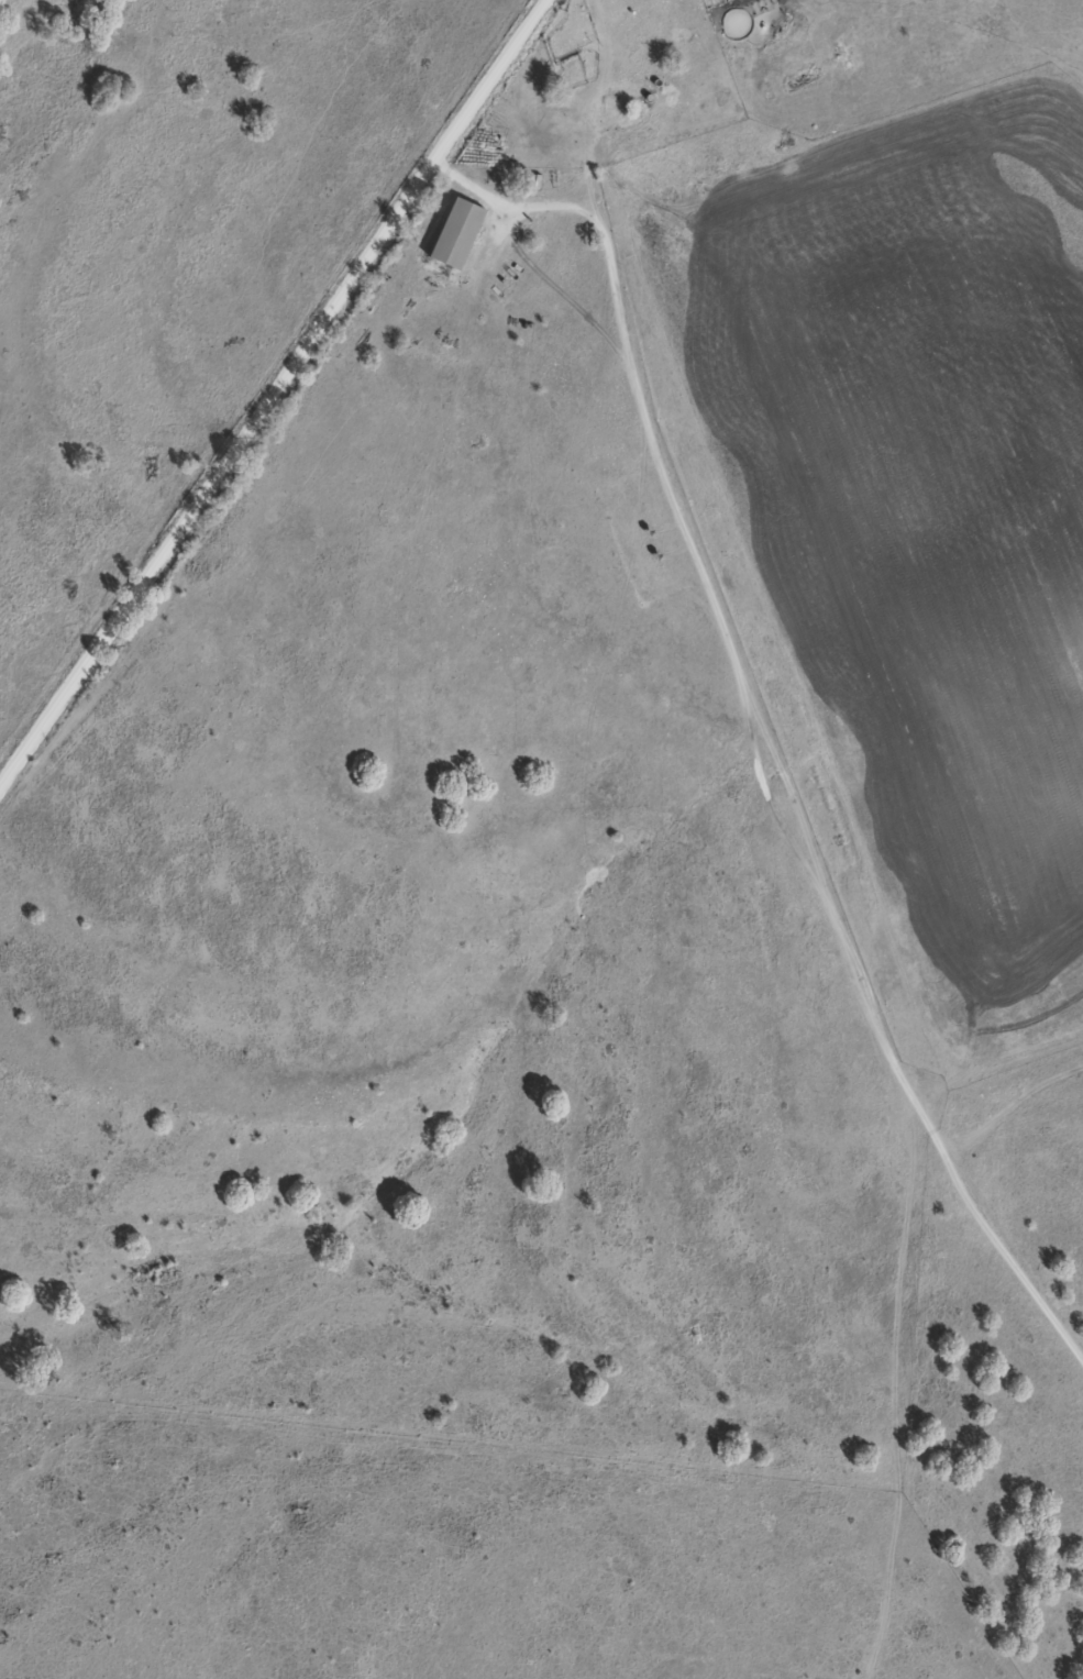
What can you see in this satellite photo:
road: (835, 32)
building: (452, 233)
road: (267, 386)
road: (765, 711)

